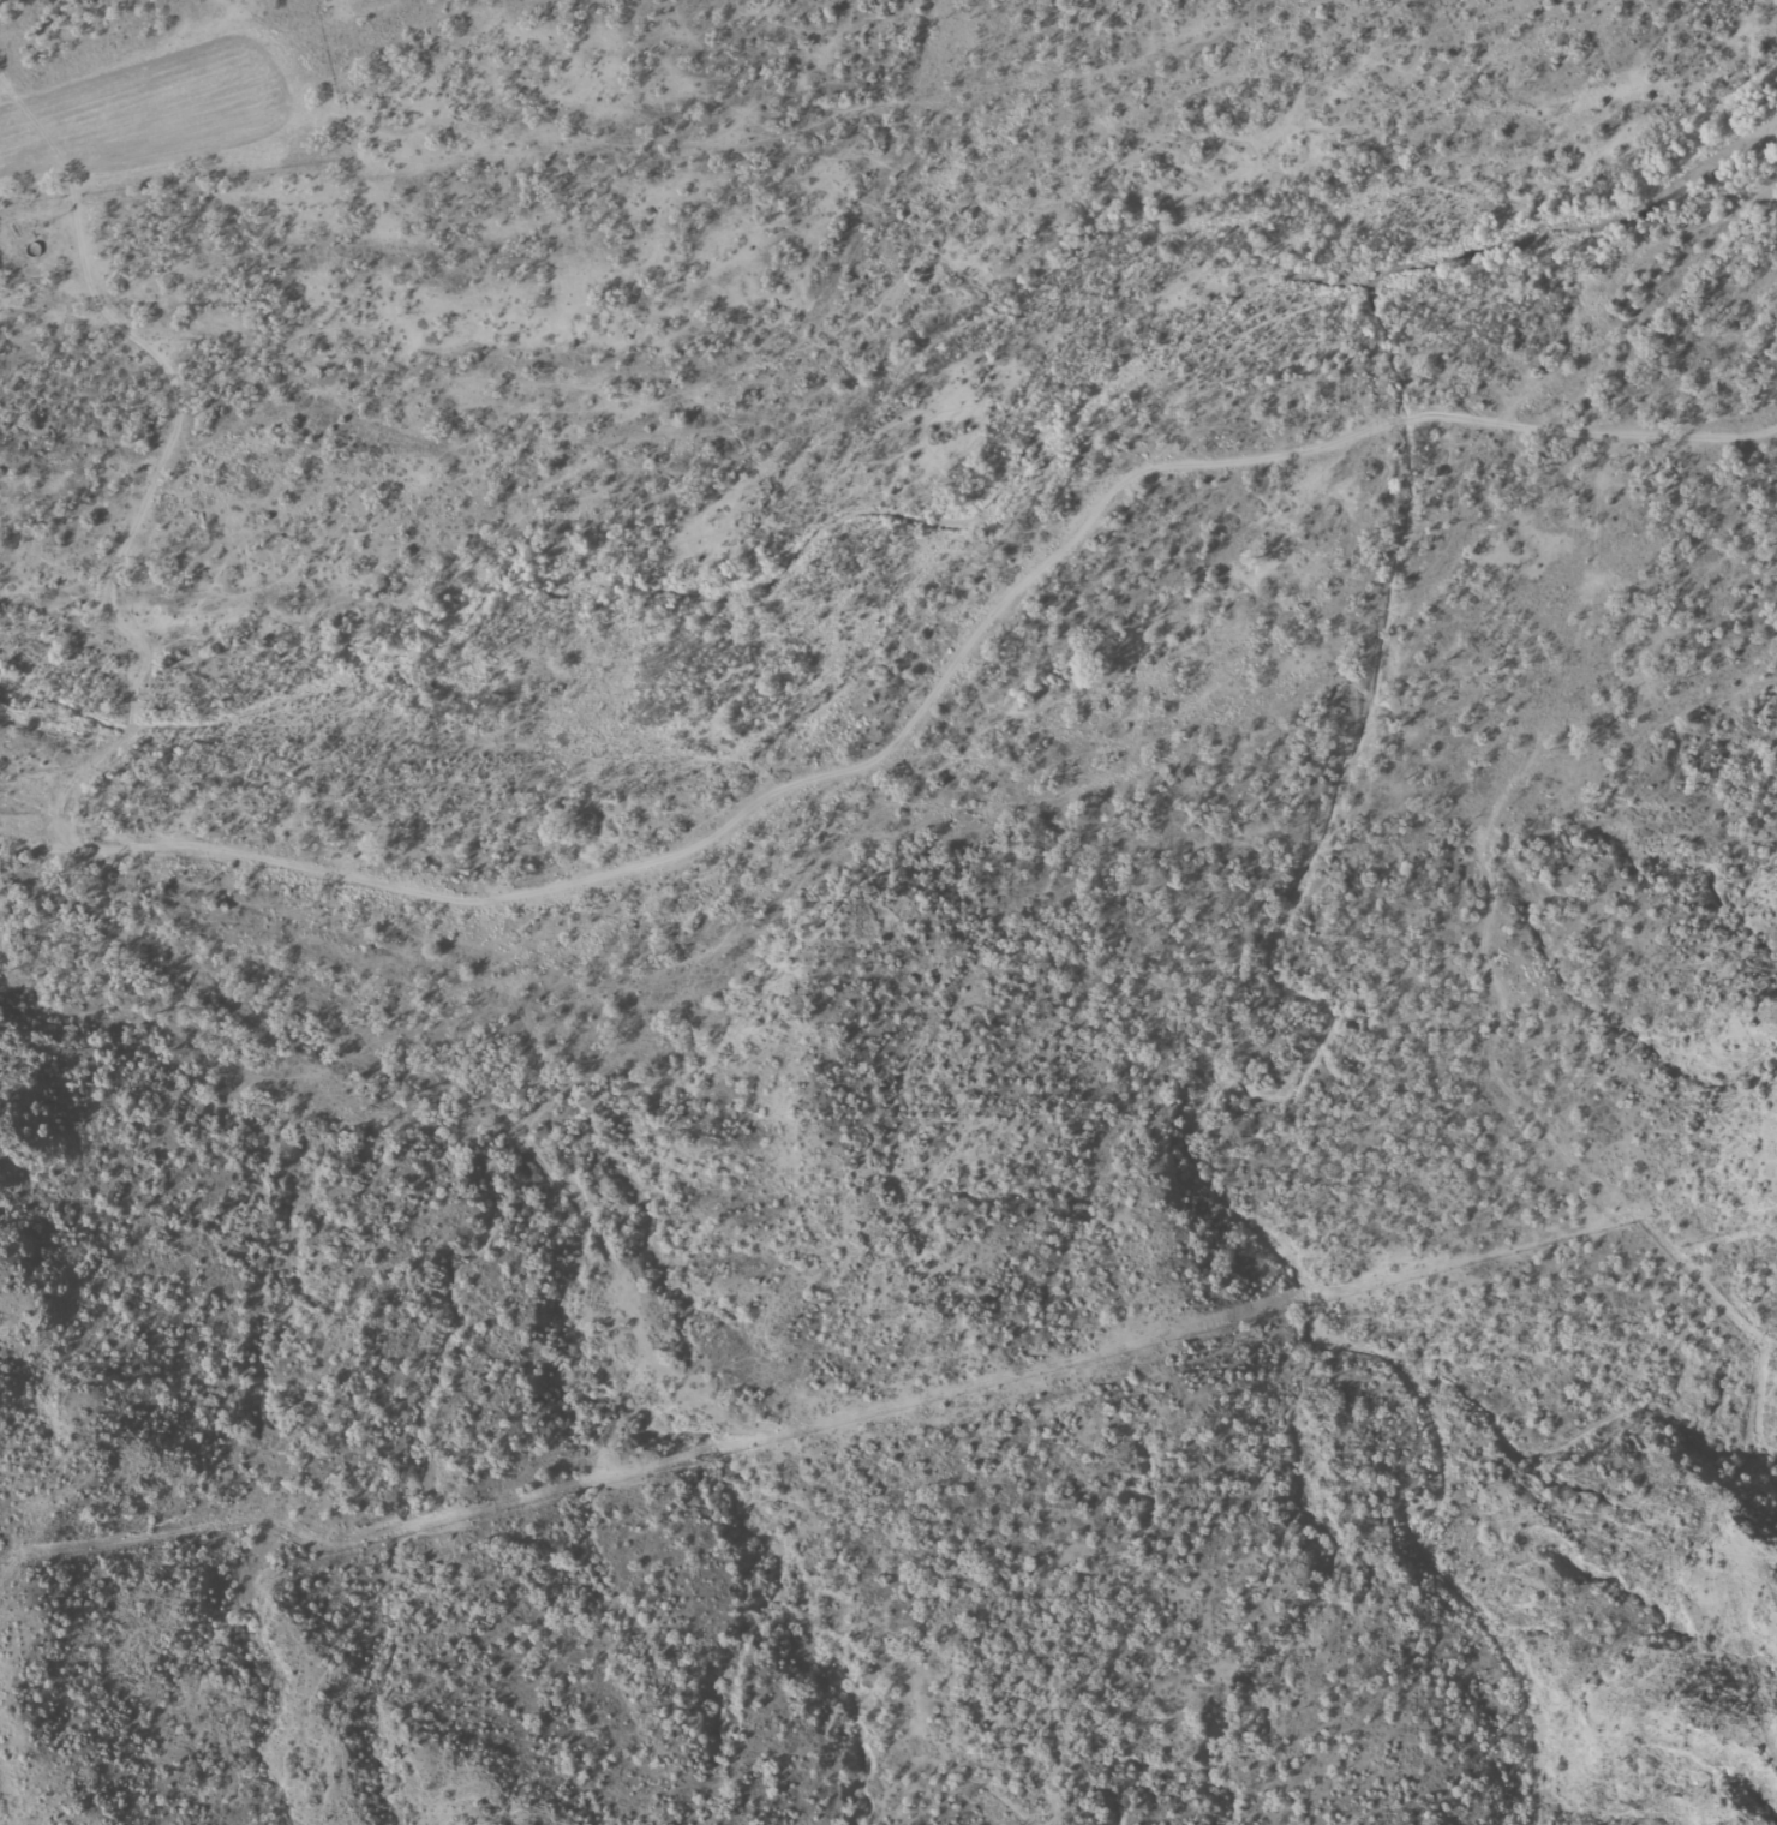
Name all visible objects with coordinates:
road: (921, 773)

